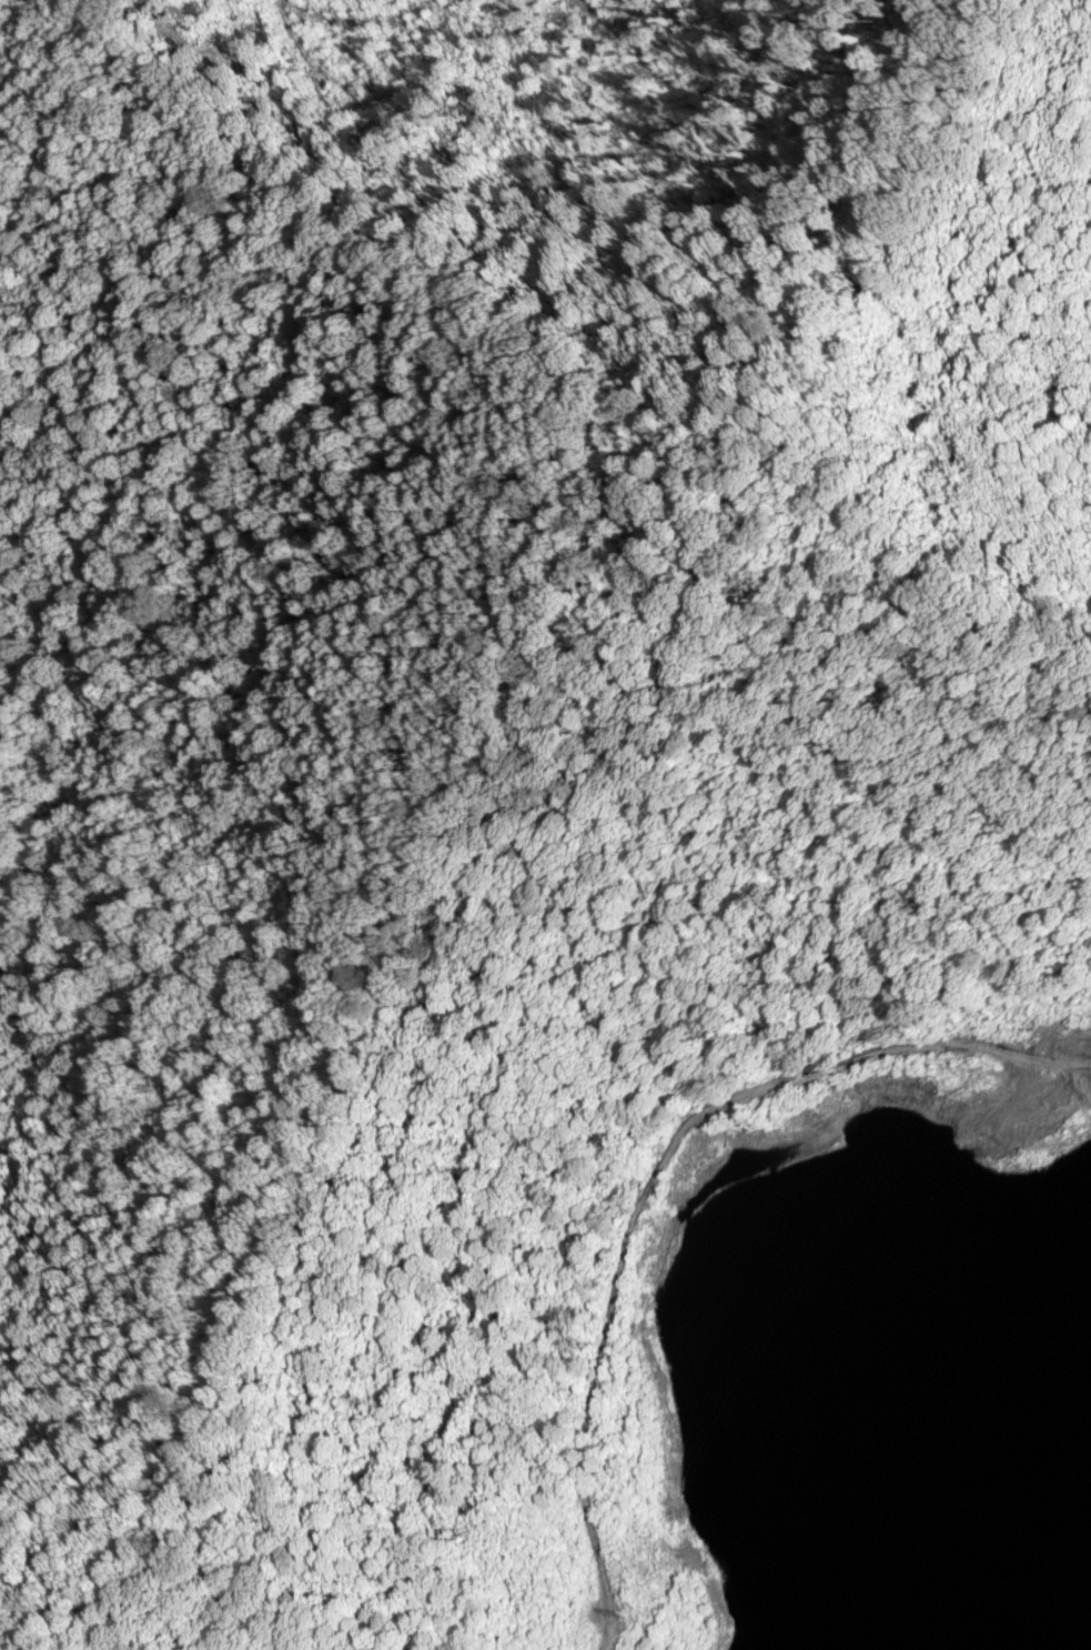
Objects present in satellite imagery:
quarry: (867, 1336)

